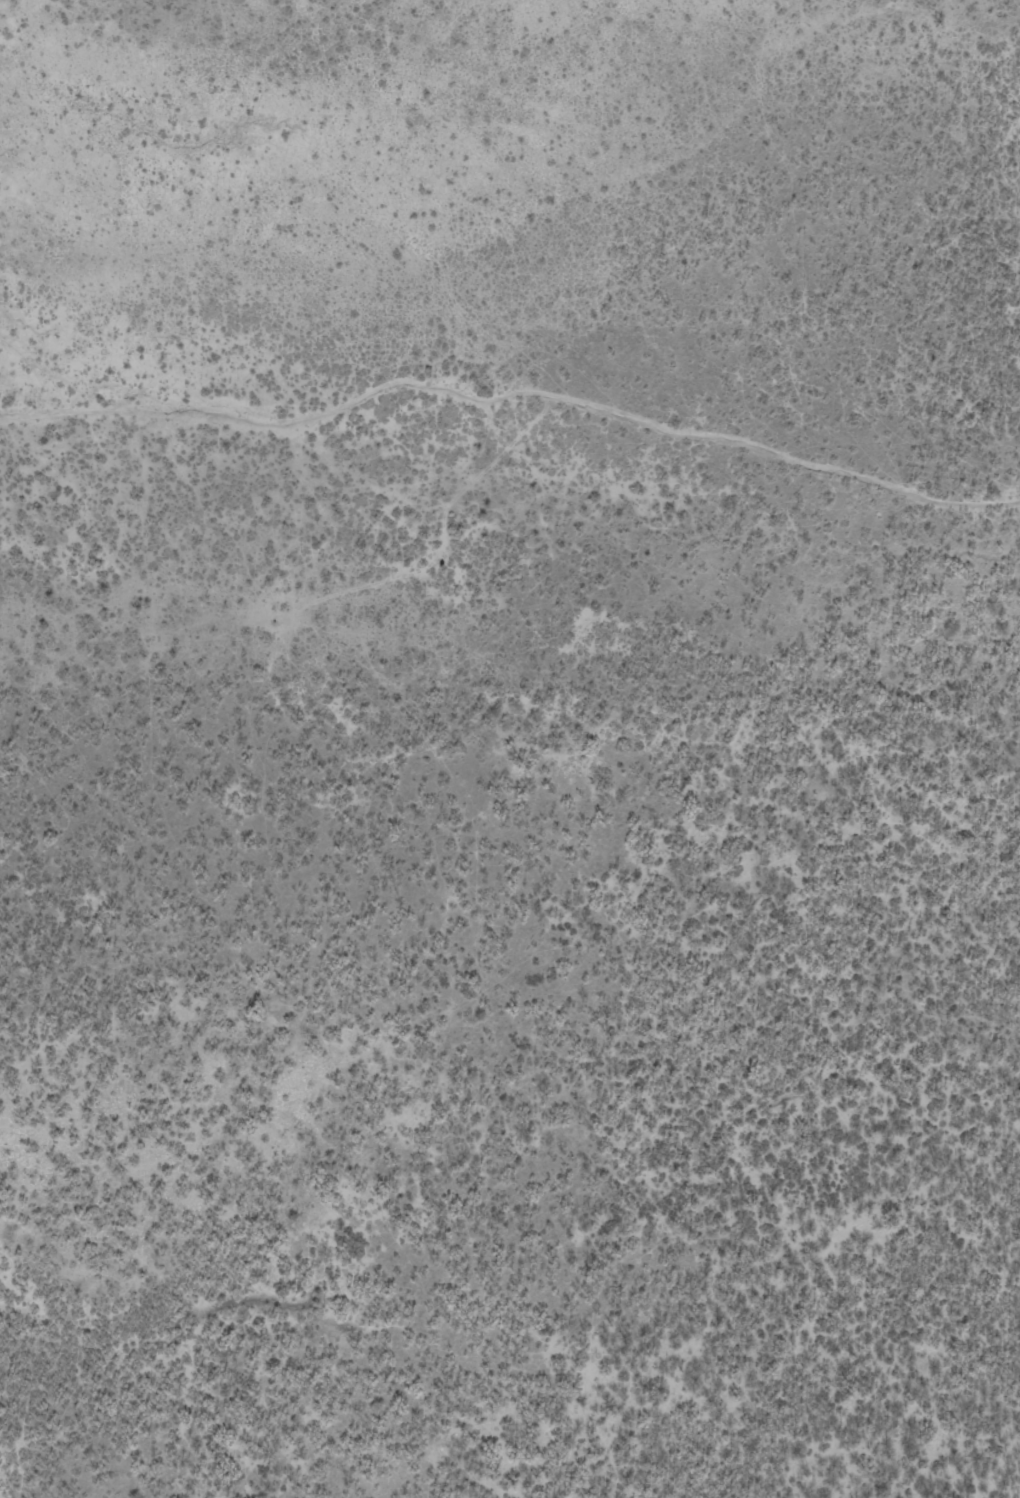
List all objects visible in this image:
road: (876, 1350)

